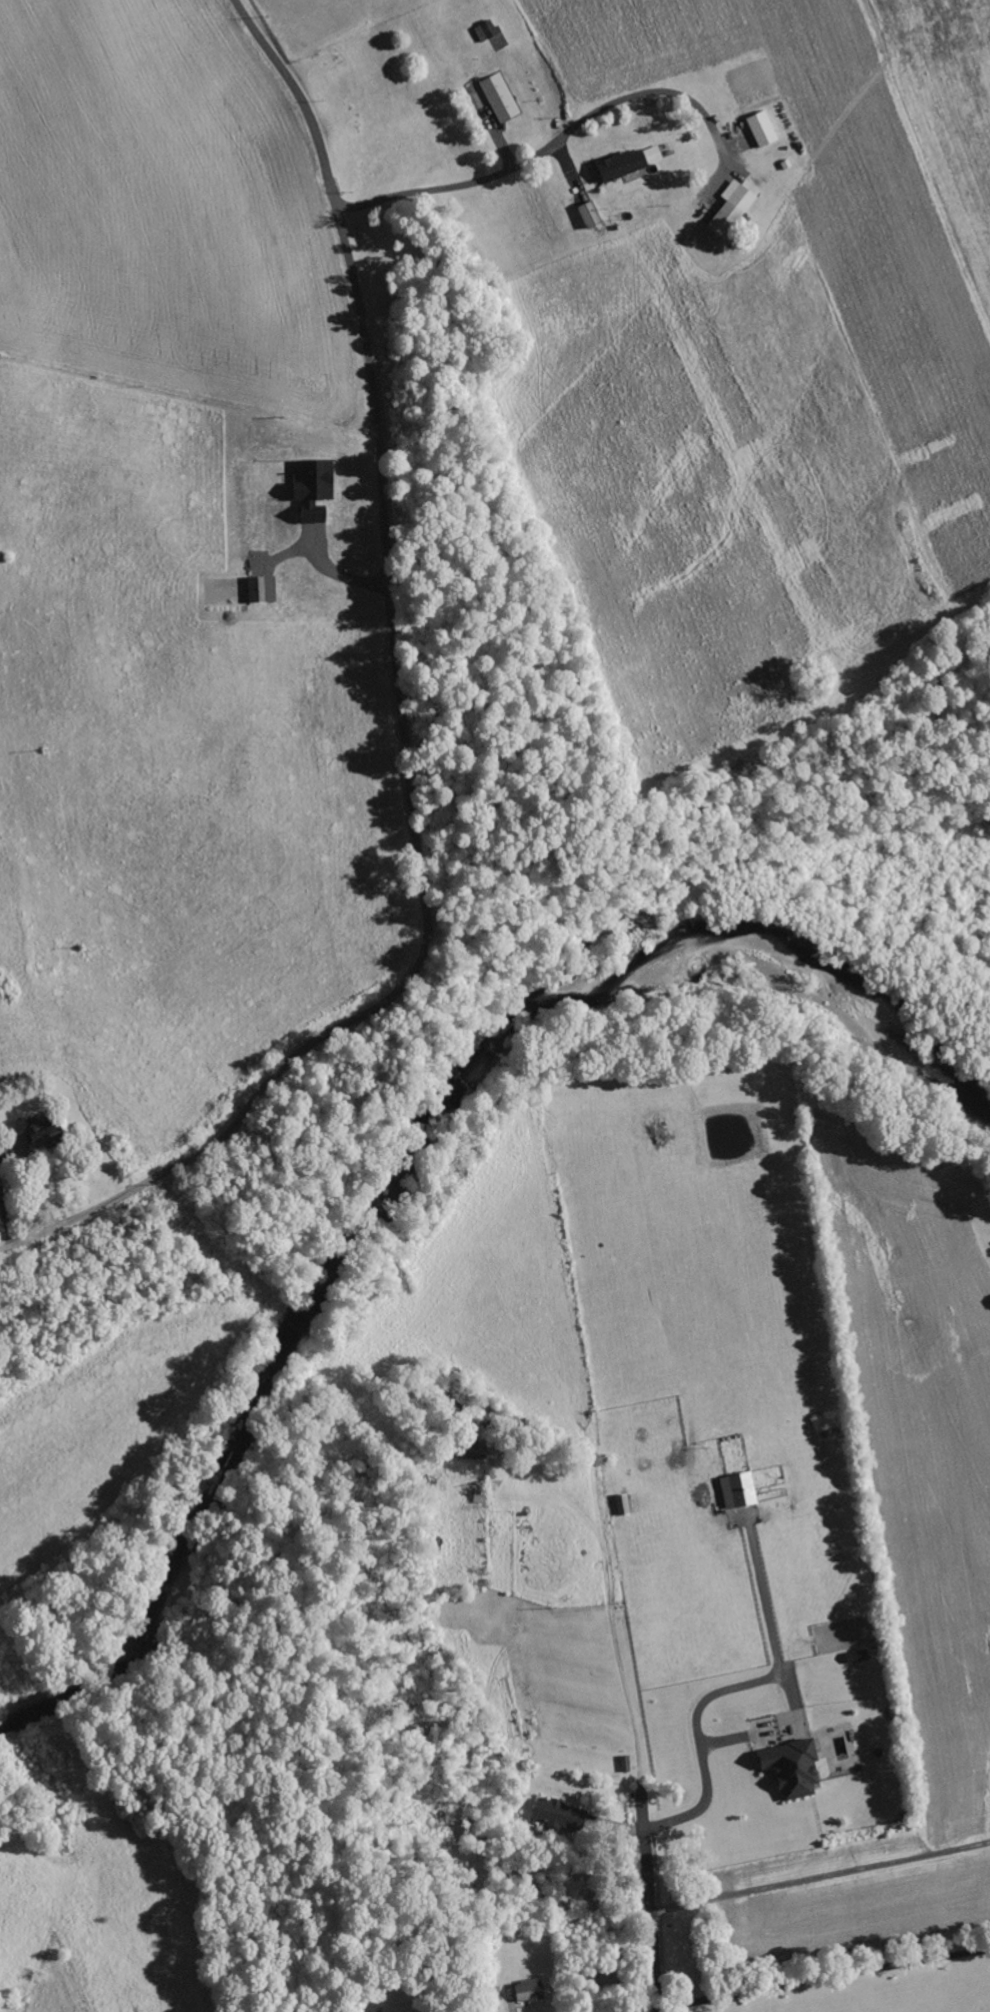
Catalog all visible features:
building: (488, 30)
building: (501, 97)
building: (763, 128)
road: (544, 148)
building: (631, 162)
building: (735, 207)
building: (316, 483)
building: (314, 519)
building: (263, 589)
road: (404, 725)
building: (41, 1131)
building: (474, 1450)
building: (740, 1490)
building: (481, 1497)
building: (624, 1504)
building: (859, 1656)
building: (767, 1733)
building: (794, 1768)
building: (562, 1815)
road: (655, 1917)
building: (530, 1991)
building: (406, 2008)

